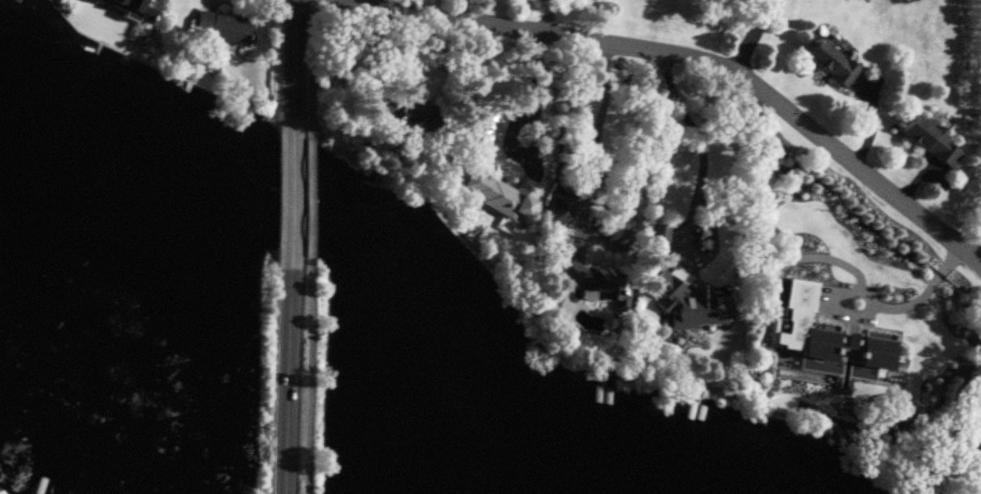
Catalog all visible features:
road: (454, 8)
road: (546, 16)
building: (220, 28)
road: (752, 37)
road: (294, 63)
road: (698, 63)
building: (828, 63)
road: (313, 67)
road: (536, 89)
building: (405, 116)
building: (927, 141)
road: (701, 153)
road: (290, 193)
road: (582, 195)
building: (503, 196)
road: (307, 197)
river: (329, 232)
building: (657, 234)
building: (587, 280)
building: (688, 302)
road: (905, 306)
building: (797, 352)
road: (287, 376)
road: (307, 376)
building: (977, 444)

